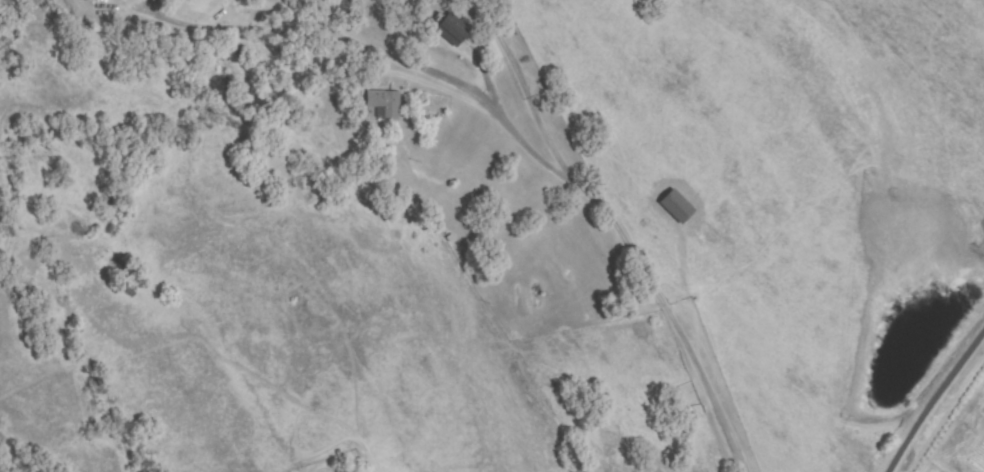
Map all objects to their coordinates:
building: (453, 29)
building: (494, 48)
road: (327, 54)
building: (386, 104)
road: (590, 197)
building: (677, 207)

